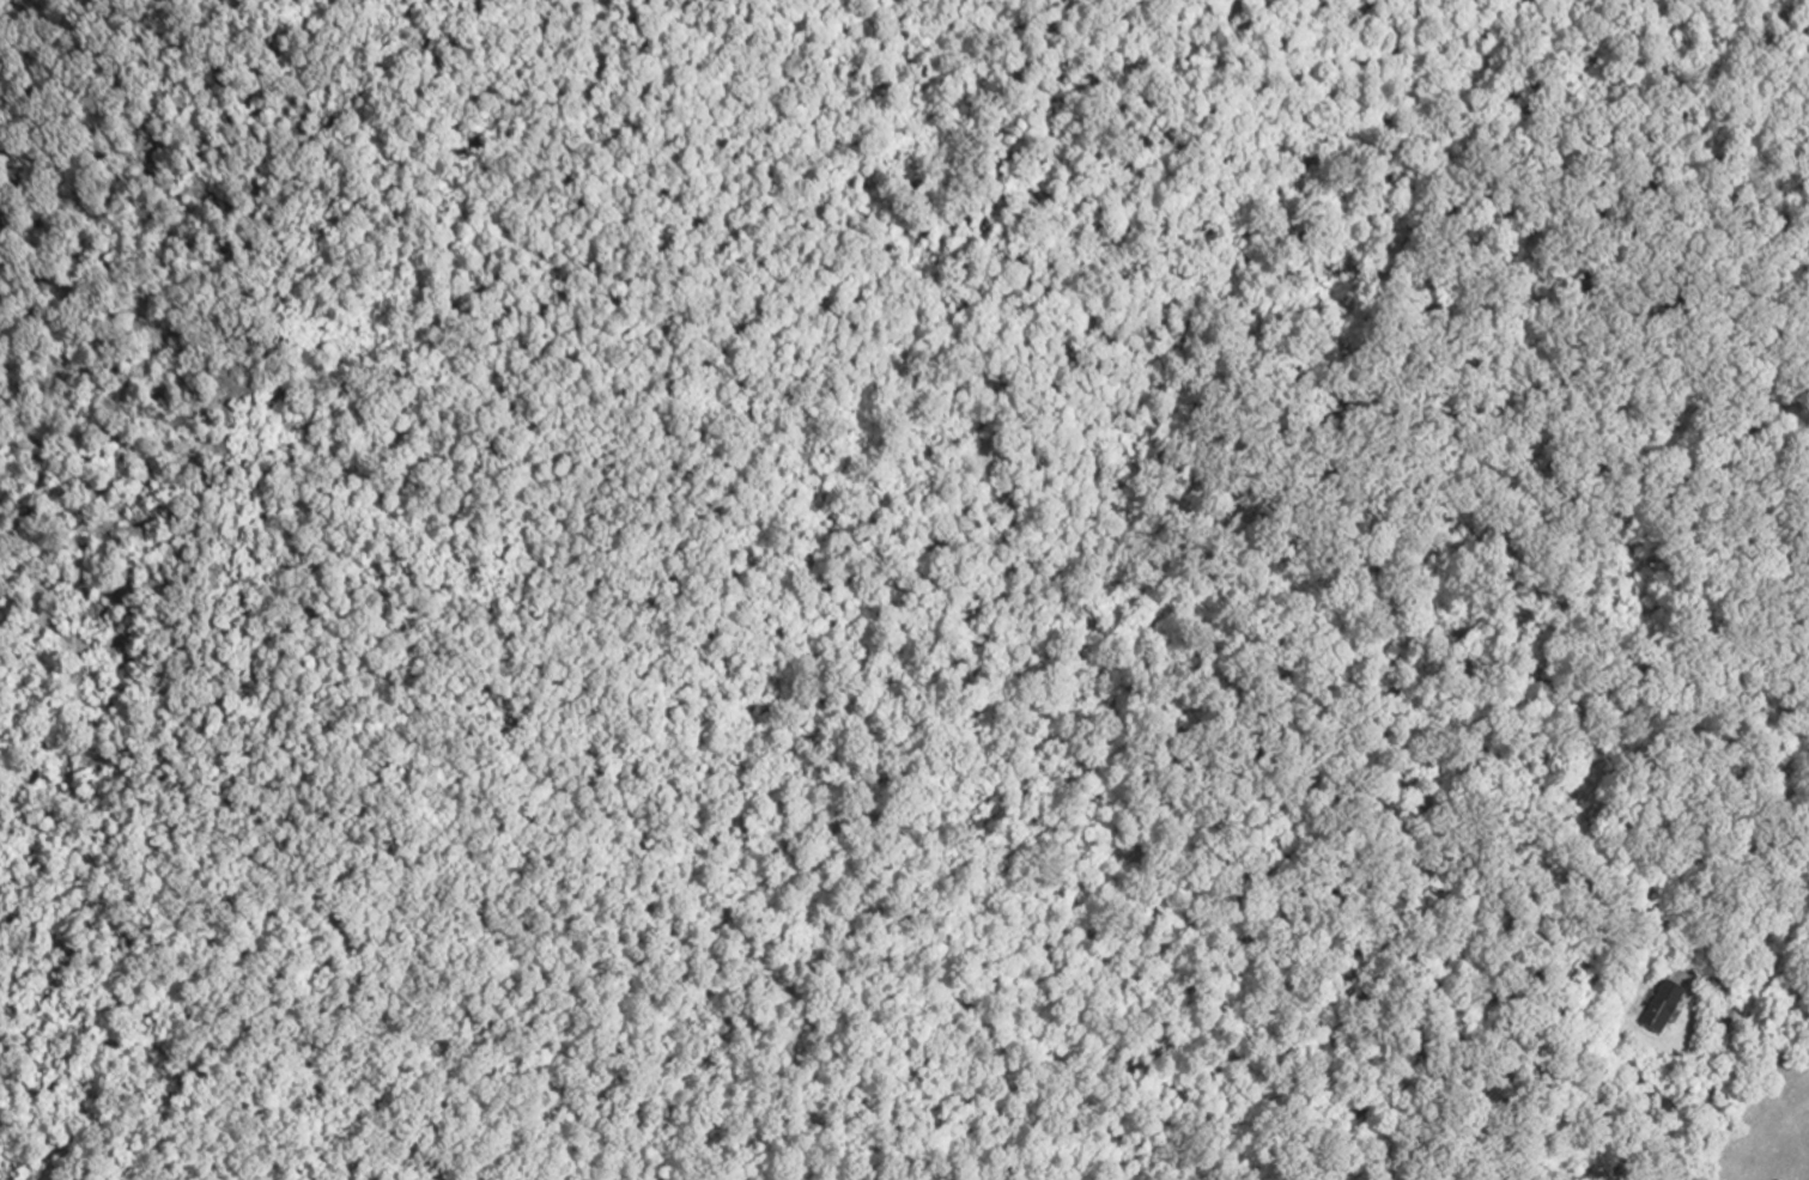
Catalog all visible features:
road: (1674, 31)
road: (194, 110)
road: (255, 250)
road: (81, 334)
road: (1440, 353)
road: (145, 554)
road: (558, 651)
road: (1758, 981)
building: (1664, 1005)
road: (1719, 1059)

